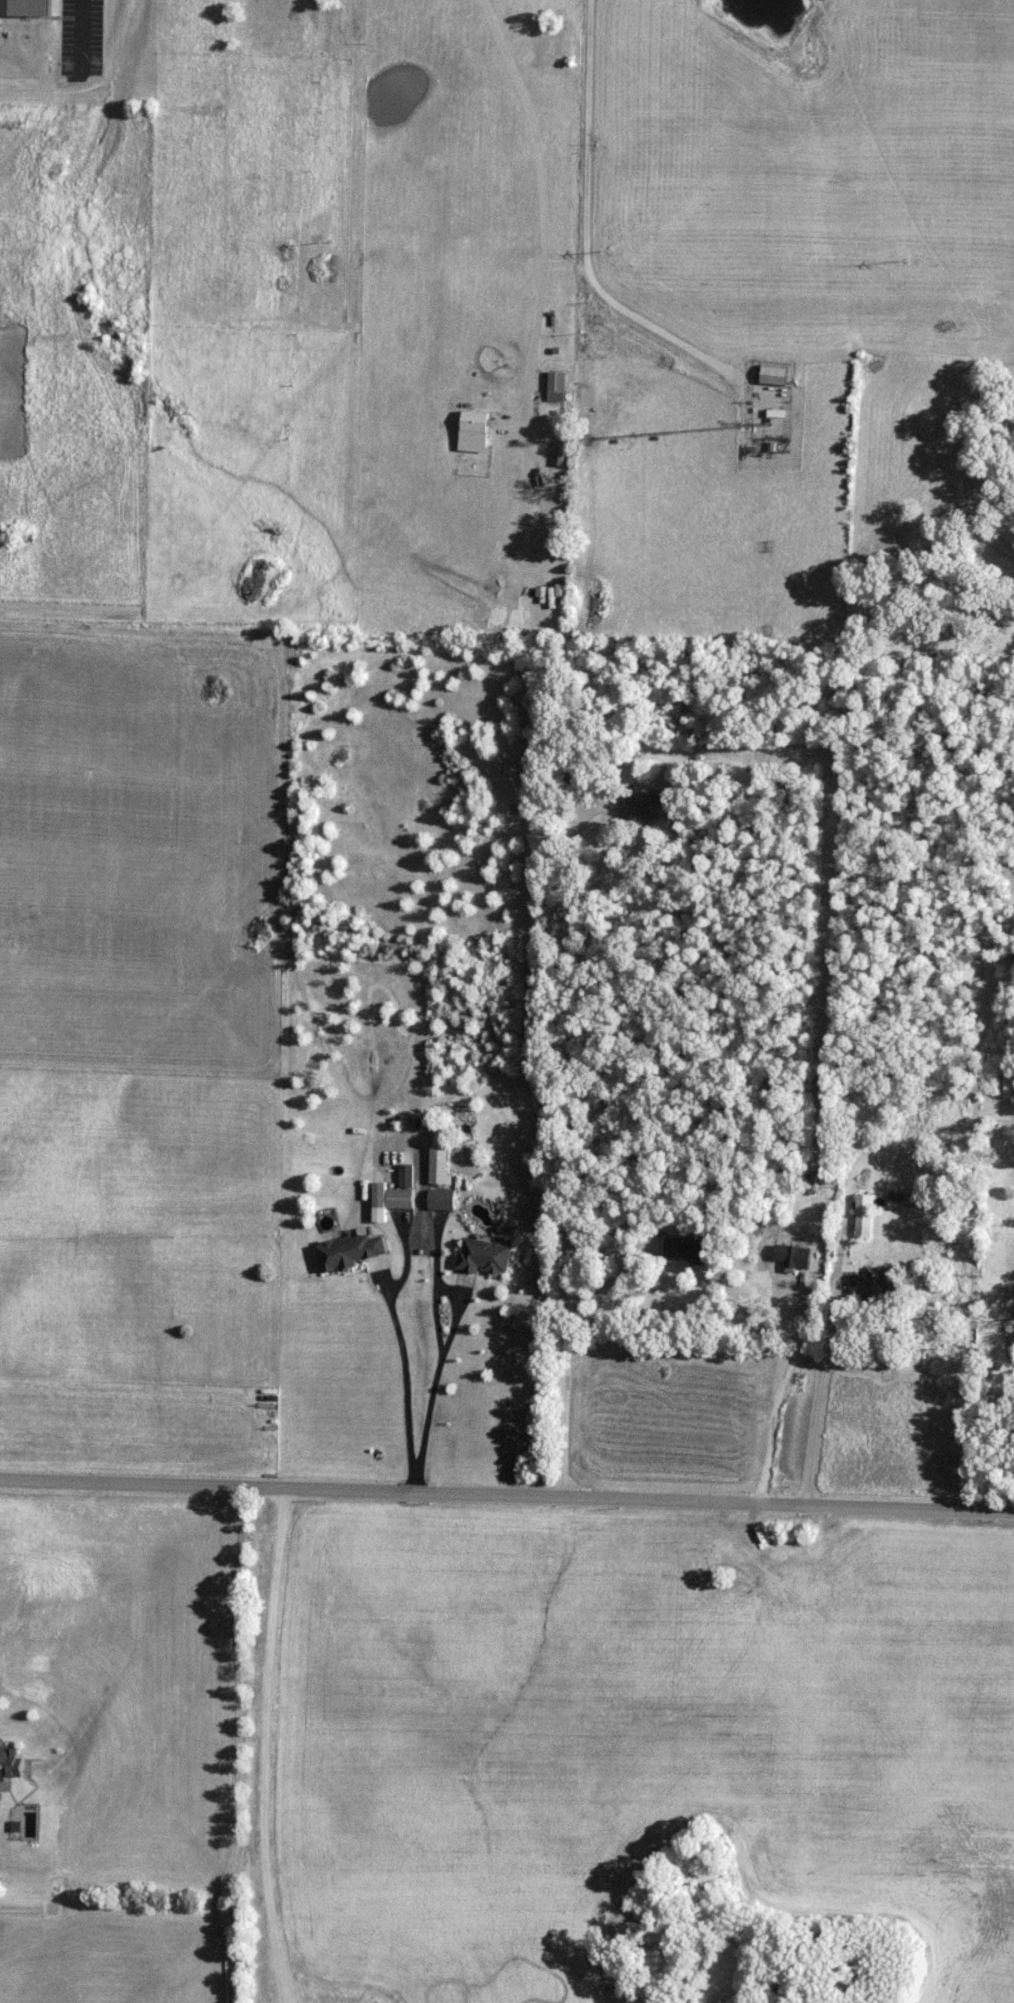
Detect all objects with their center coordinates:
road: (538, 172)
road: (588, 238)
building: (775, 375)
building: (556, 381)
building: (507, 769)
building: (579, 779)
building: (644, 806)
road: (570, 1154)
road: (975, 1197)
building: (399, 1199)
building: (442, 1200)
building: (865, 1215)
building: (690, 1249)
building: (351, 1252)
building: (486, 1256)
building: (875, 1283)
road: (446, 1344)
road: (824, 1381)
road: (406, 1388)
road: (507, 1495)
road: (259, 1746)
building: (9, 1765)

